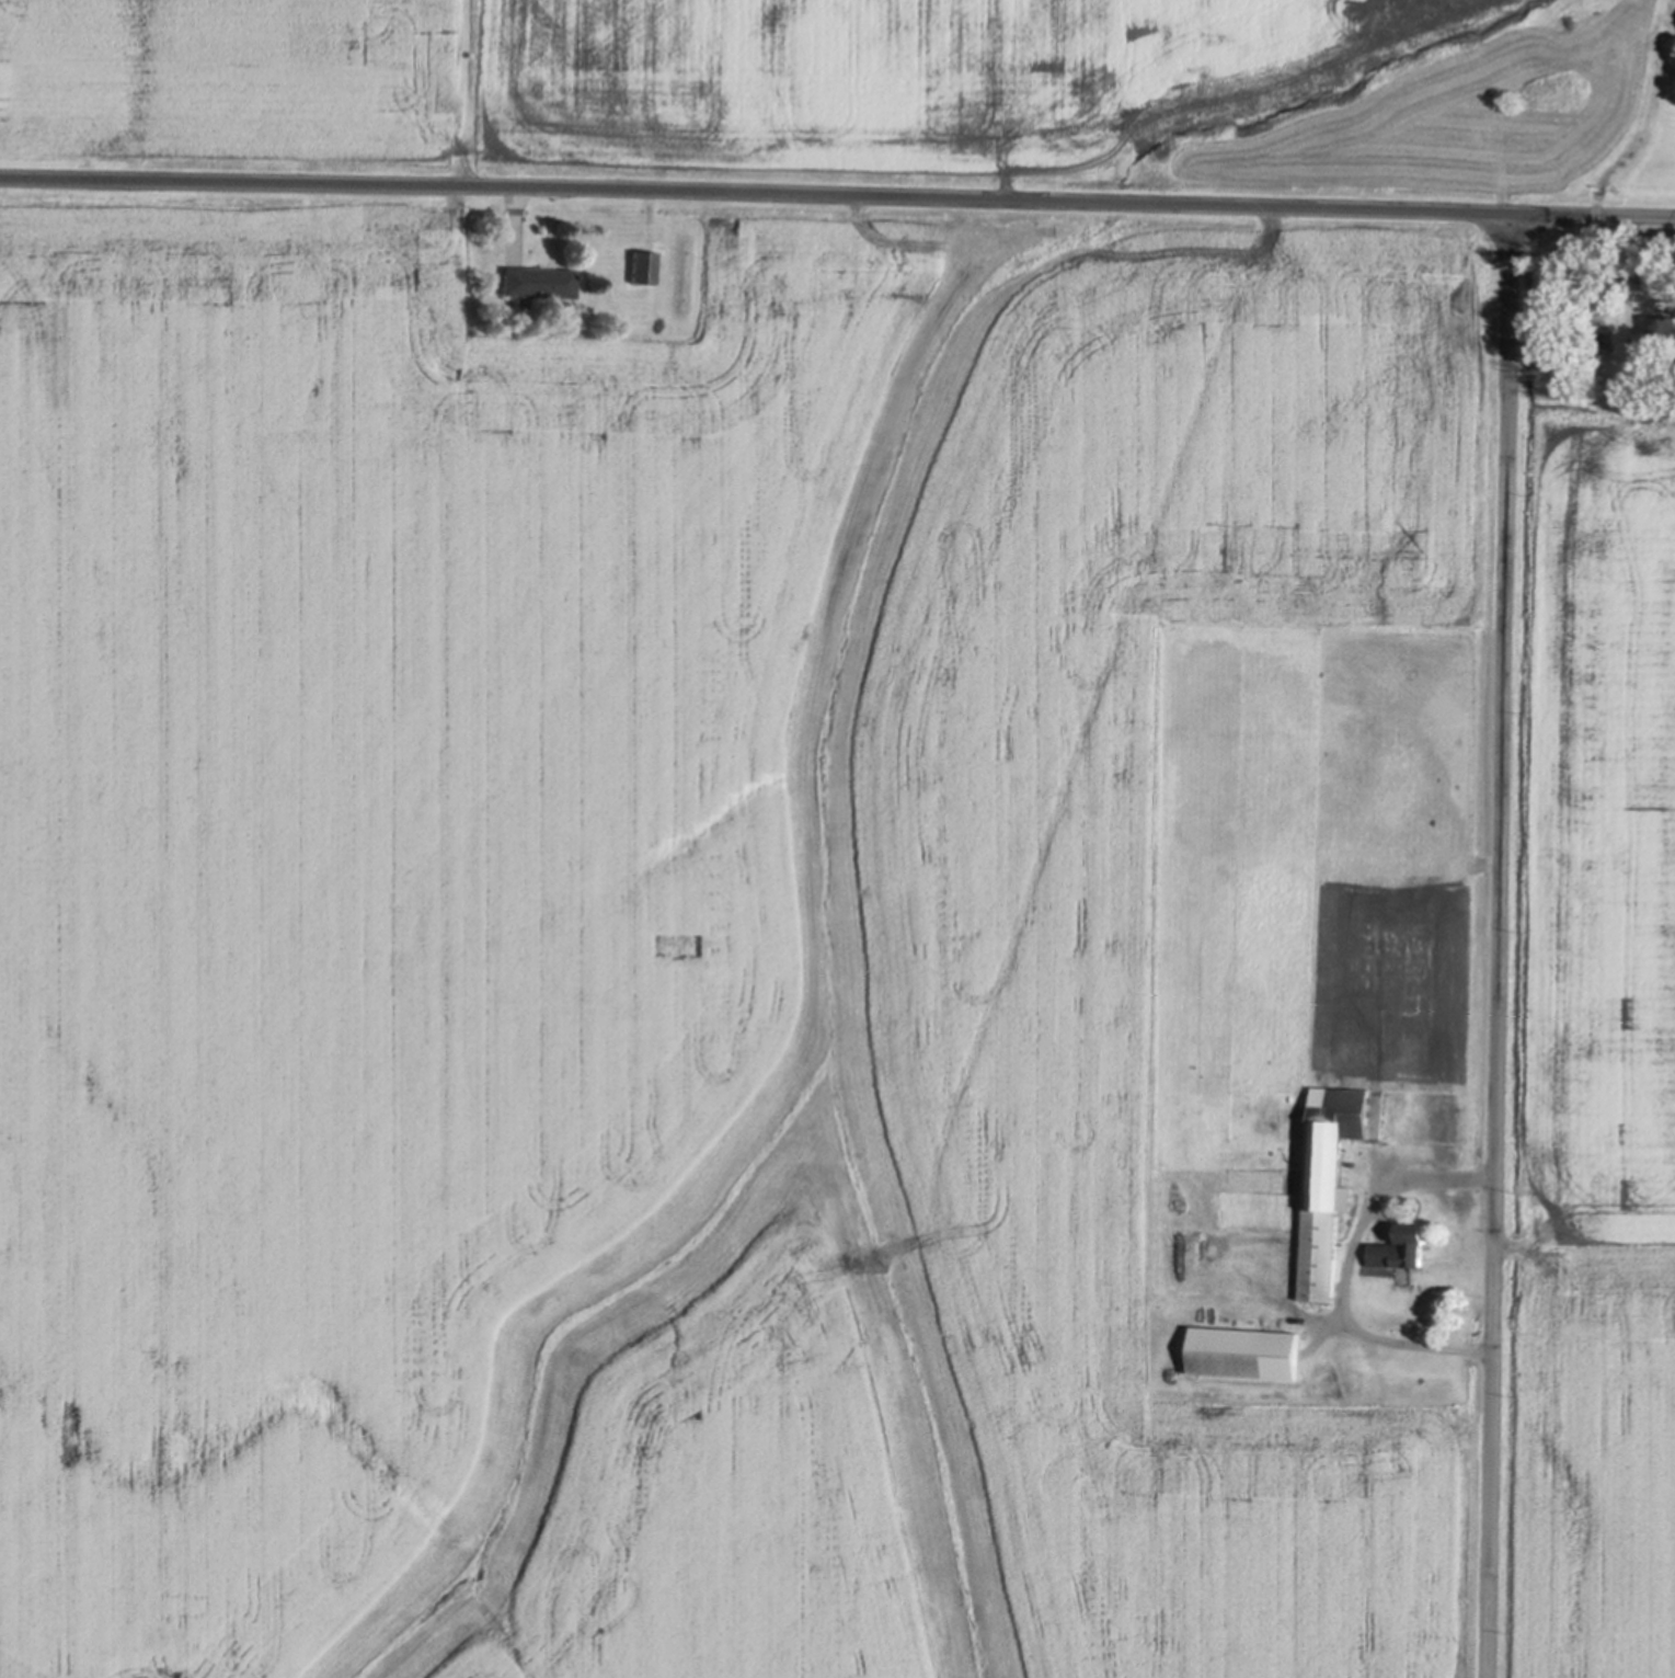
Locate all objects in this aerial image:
road: (837, 196)
building: (642, 263)
building: (537, 278)
building: (604, 320)
building: (1665, 322)
building: (1656, 356)
road: (1502, 947)
building: (1298, 1165)
building: (1331, 1174)
building: (1296, 1185)
building: (1404, 1245)
road: (1349, 1265)
building: (1249, 1351)

